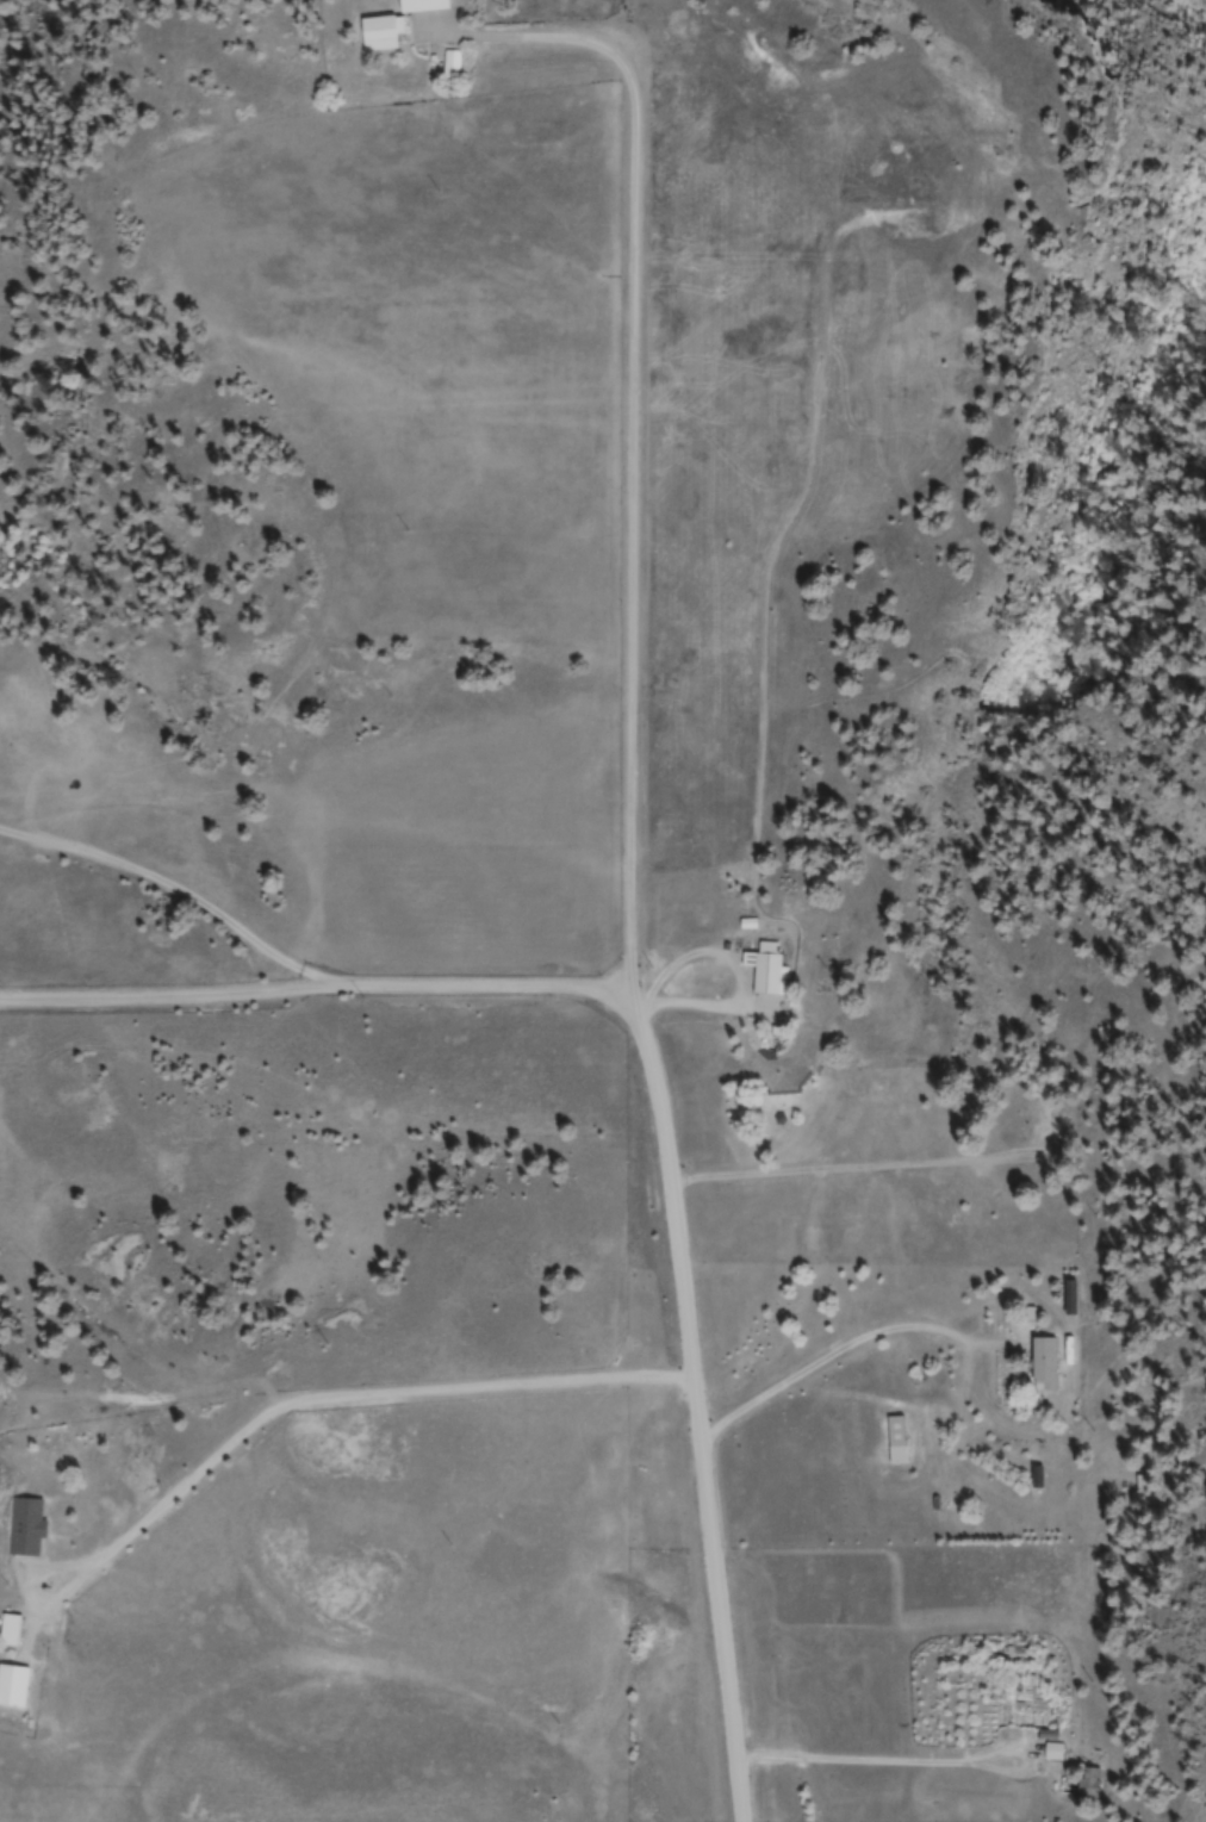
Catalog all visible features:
building: (427, 7)
building: (385, 36)
road: (626, 69)
road: (642, 547)
building: (771, 972)
road: (184, 993)
road: (652, 1078)
building: (1045, 1118)
building: (1048, 1368)
building: (899, 1443)
building: (29, 1530)
building: (13, 1633)
building: (14, 1689)
building: (1092, 1785)

